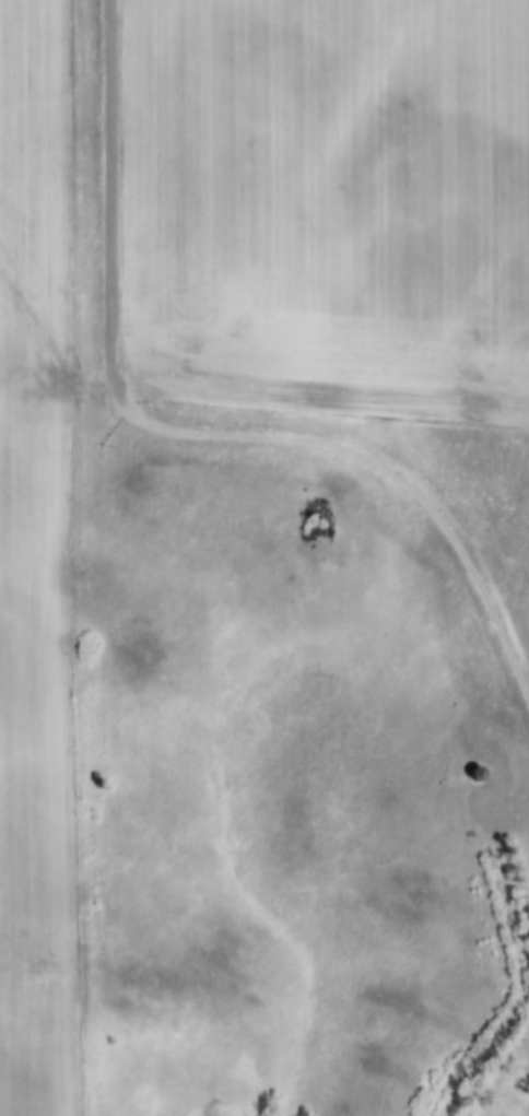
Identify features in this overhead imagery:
road: (186, 432)
building: (475, 773)

